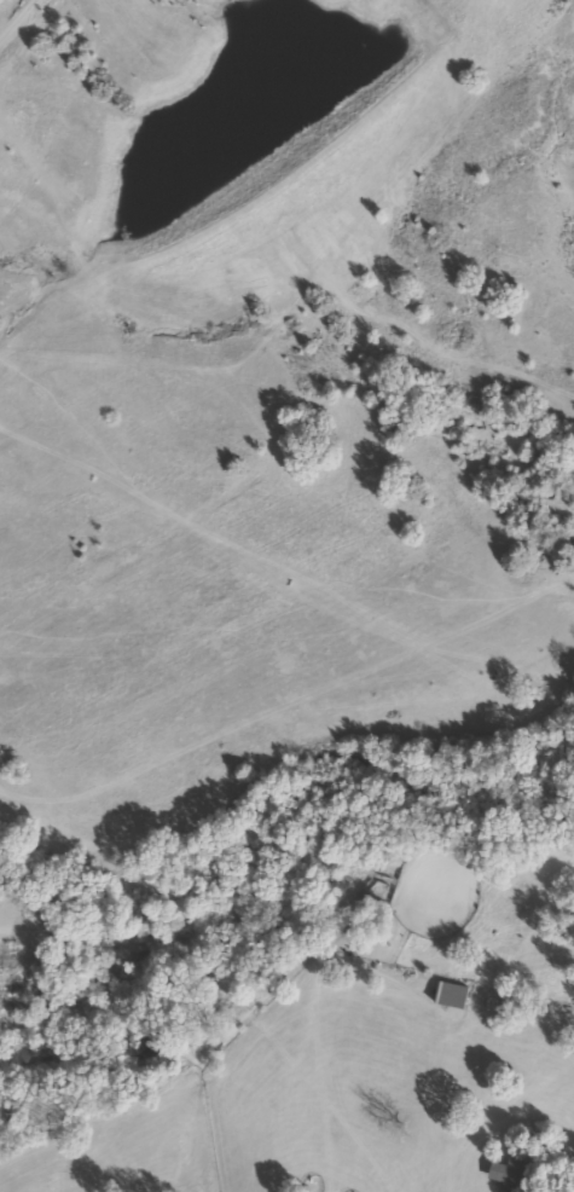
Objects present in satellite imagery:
road: (17, 19)
road: (284, 1142)

